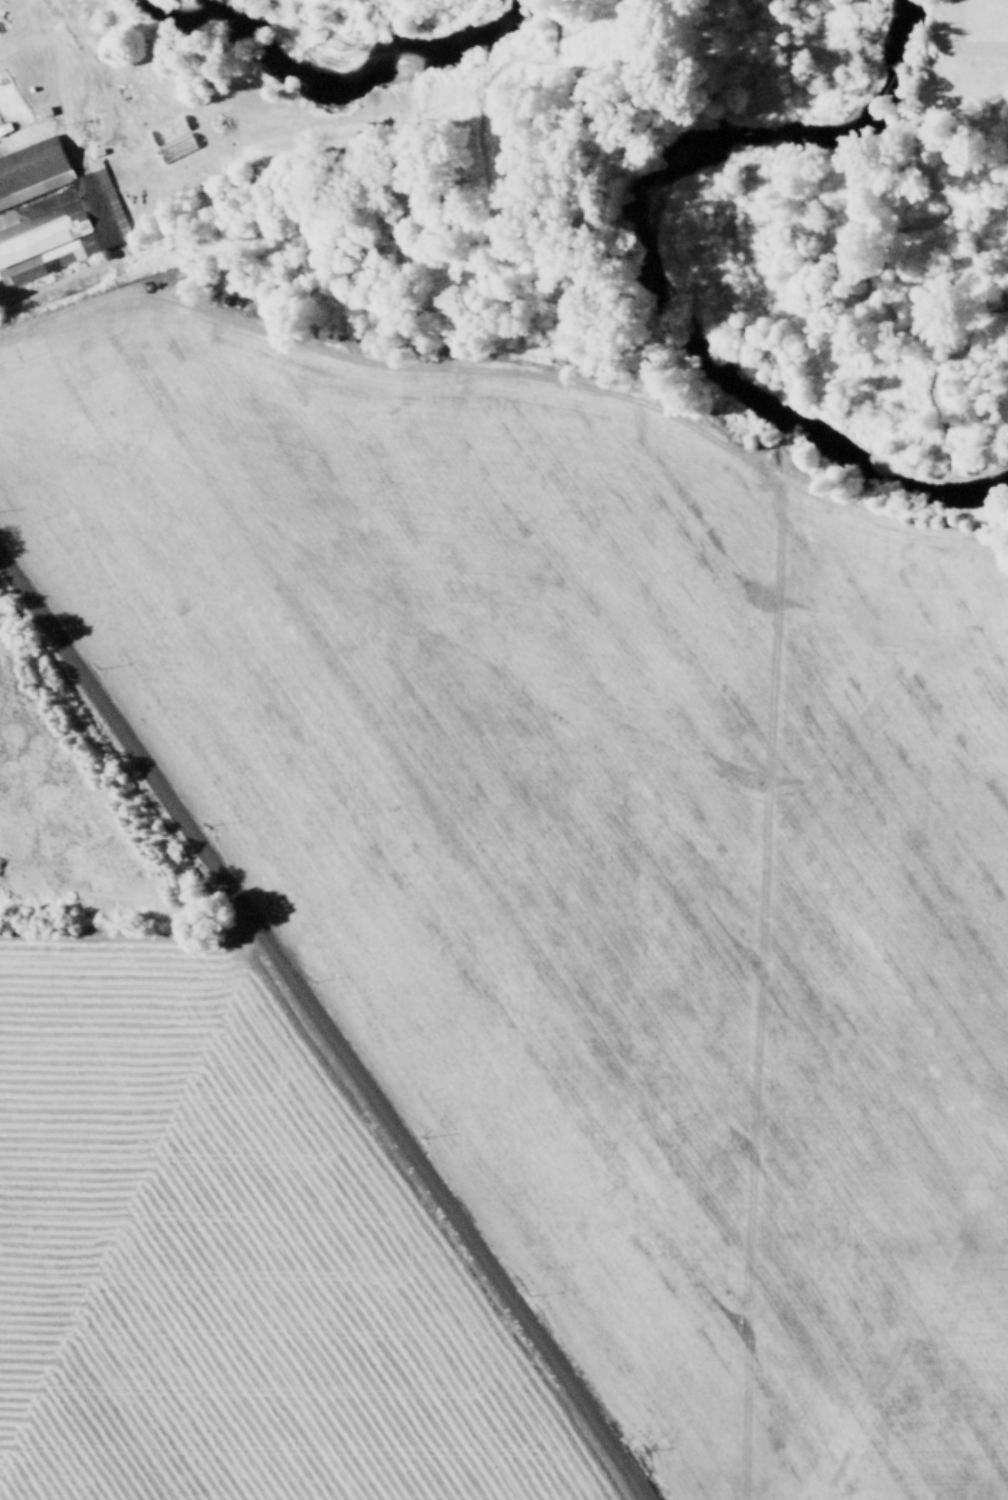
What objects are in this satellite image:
river: (354, 41)
crop: (977, 46)
building: (33, 170)
building: (60, 228)
river: (661, 280)
road: (389, 364)
crop: (471, 920)
road: (325, 1026)

